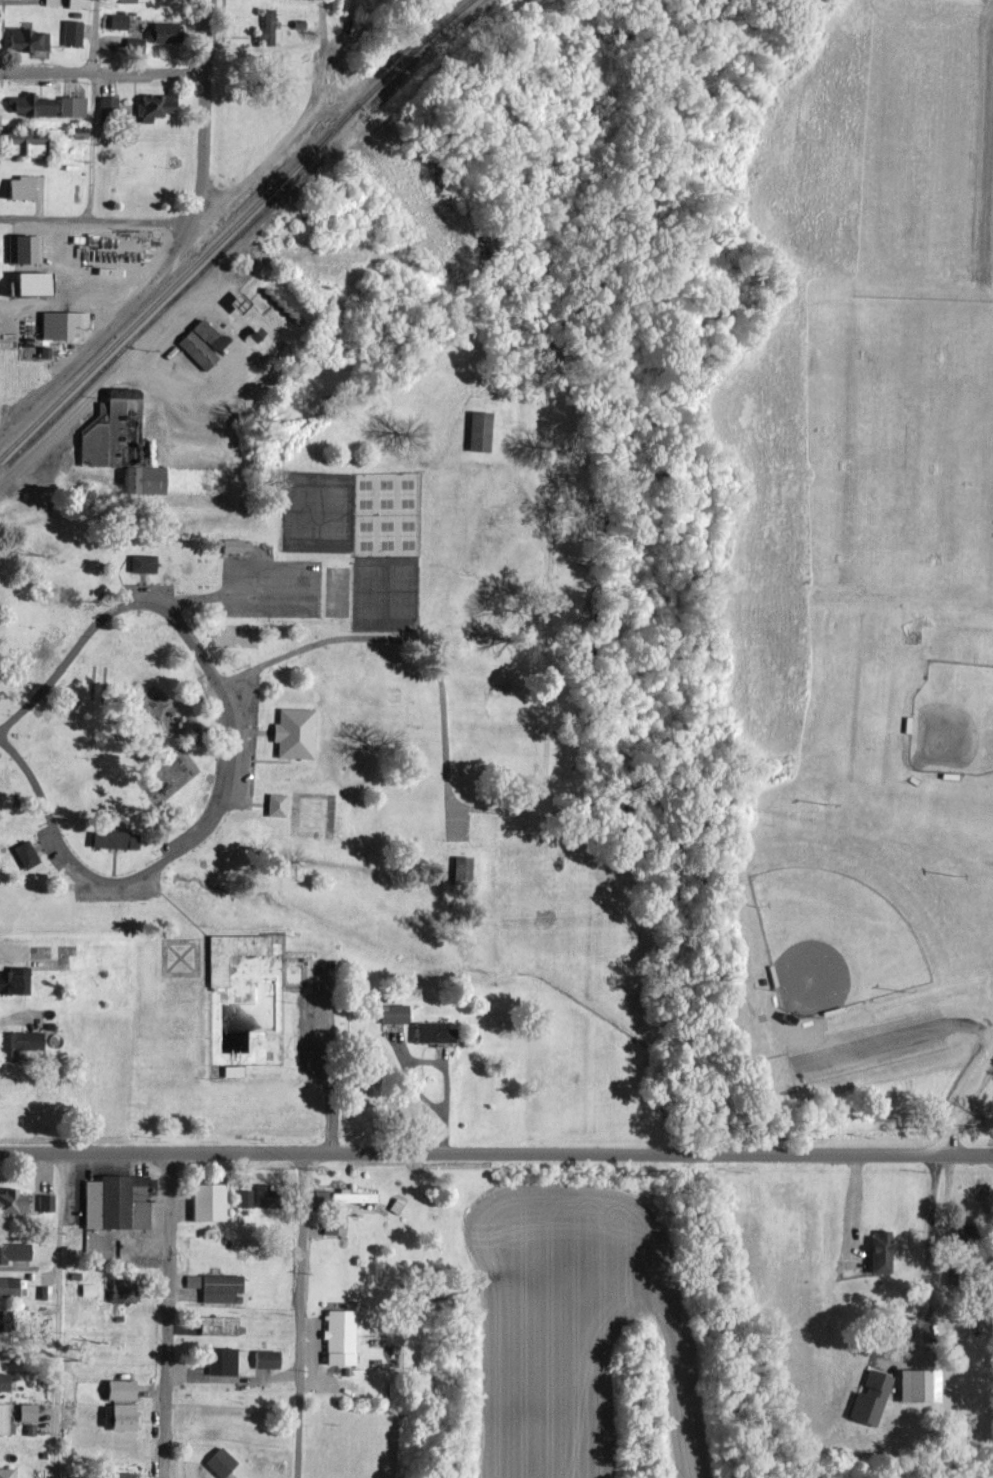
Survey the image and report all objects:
building: (124, 0)
building: (50, 2)
building: (77, 3)
building: (116, 20)
building: (263, 29)
building: (70, 32)
building: (162, 32)
road: (343, 33)
building: (26, 39)
building: (132, 44)
road: (103, 72)
park: (976, 92)
building: (106, 103)
building: (25, 105)
building: (70, 106)
building: (152, 106)
road: (91, 110)
road: (296, 121)
building: (78, 131)
building: (24, 143)
building: (17, 186)
park: (863, 198)
road: (94, 221)
railway: (234, 226)
building: (23, 247)
road: (176, 254)
park: (988, 273)
building: (25, 281)
railway: (176, 296)
building: (234, 301)
building: (59, 323)
building: (200, 342)
building: (119, 391)
building: (477, 430)
building: (117, 444)
park: (895, 460)
park: (362, 538)
building: (234, 545)
building: (141, 562)
parking lot: (270, 585)
park: (337, 590)
park: (565, 667)
park: (920, 693)
building: (292, 732)
road: (1, 733)
road: (444, 759)
building: (274, 804)
road: (217, 812)
building: (111, 839)
building: (24, 853)
building: (460, 869)
road: (174, 906)
park: (832, 943)
building: (13, 980)
building: (391, 1013)
building: (431, 1032)
road: (904, 1037)
building: (18, 1042)
building: (230, 1070)
road: (965, 1100)
road: (496, 1154)
building: (260, 1194)
building: (319, 1195)
building: (350, 1196)
building: (243, 1198)
building: (10, 1200)
building: (44, 1201)
building: (206, 1201)
building: (114, 1202)
building: (327, 1227)
building: (13, 1251)
building: (878, 1251)
building: (190, 1280)
building: (7, 1285)
building: (218, 1287)
building: (87, 1289)
road: (167, 1315)
road: (60, 1316)
road: (302, 1316)
building: (4, 1319)
building: (217, 1324)
building: (337, 1336)
building: (263, 1358)
building: (220, 1360)
building: (2, 1381)
building: (916, 1384)
building: (118, 1389)
building: (868, 1398)
building: (25, 1412)
building: (119, 1416)
building: (3, 1418)
building: (219, 1463)
building: (6, 1472)
building: (120, 1474)

